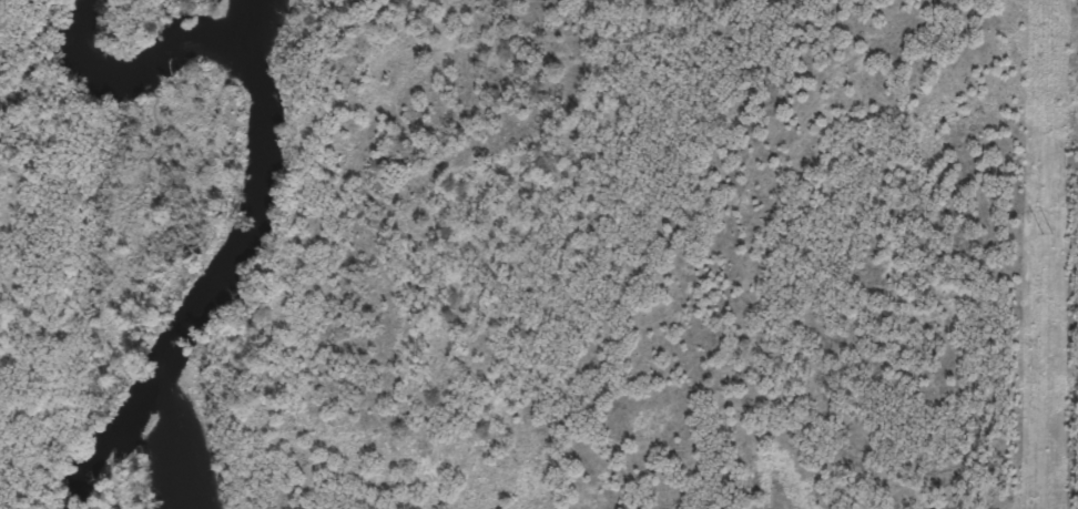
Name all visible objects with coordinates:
power tower: (1045, 234)

